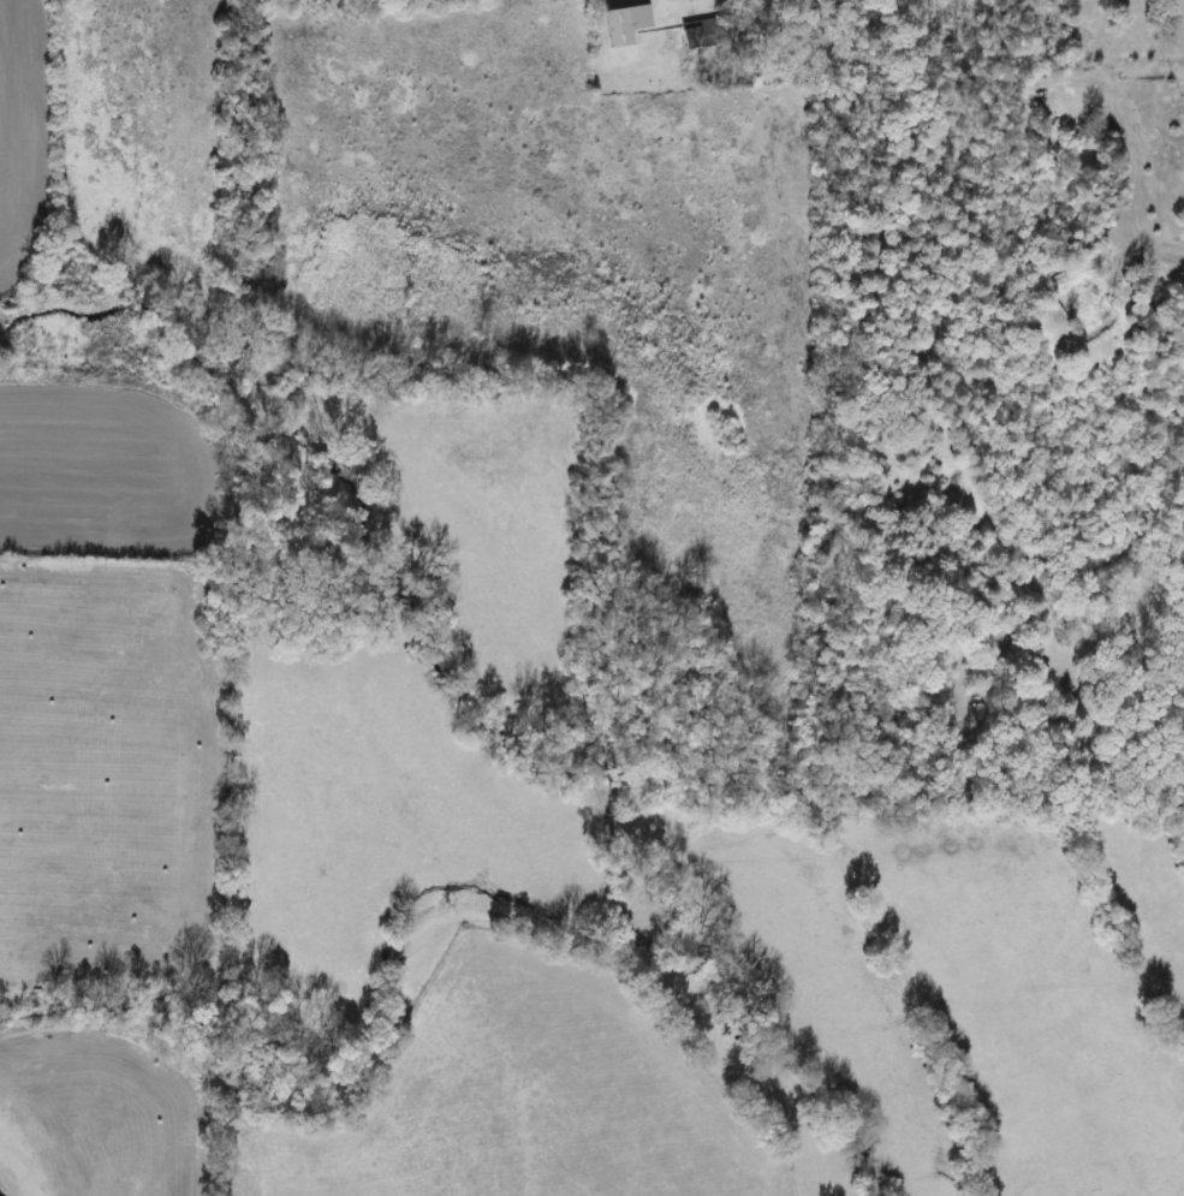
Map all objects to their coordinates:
road: (676, 4)
building: (619, 23)
building: (686, 36)
road: (1134, 174)

